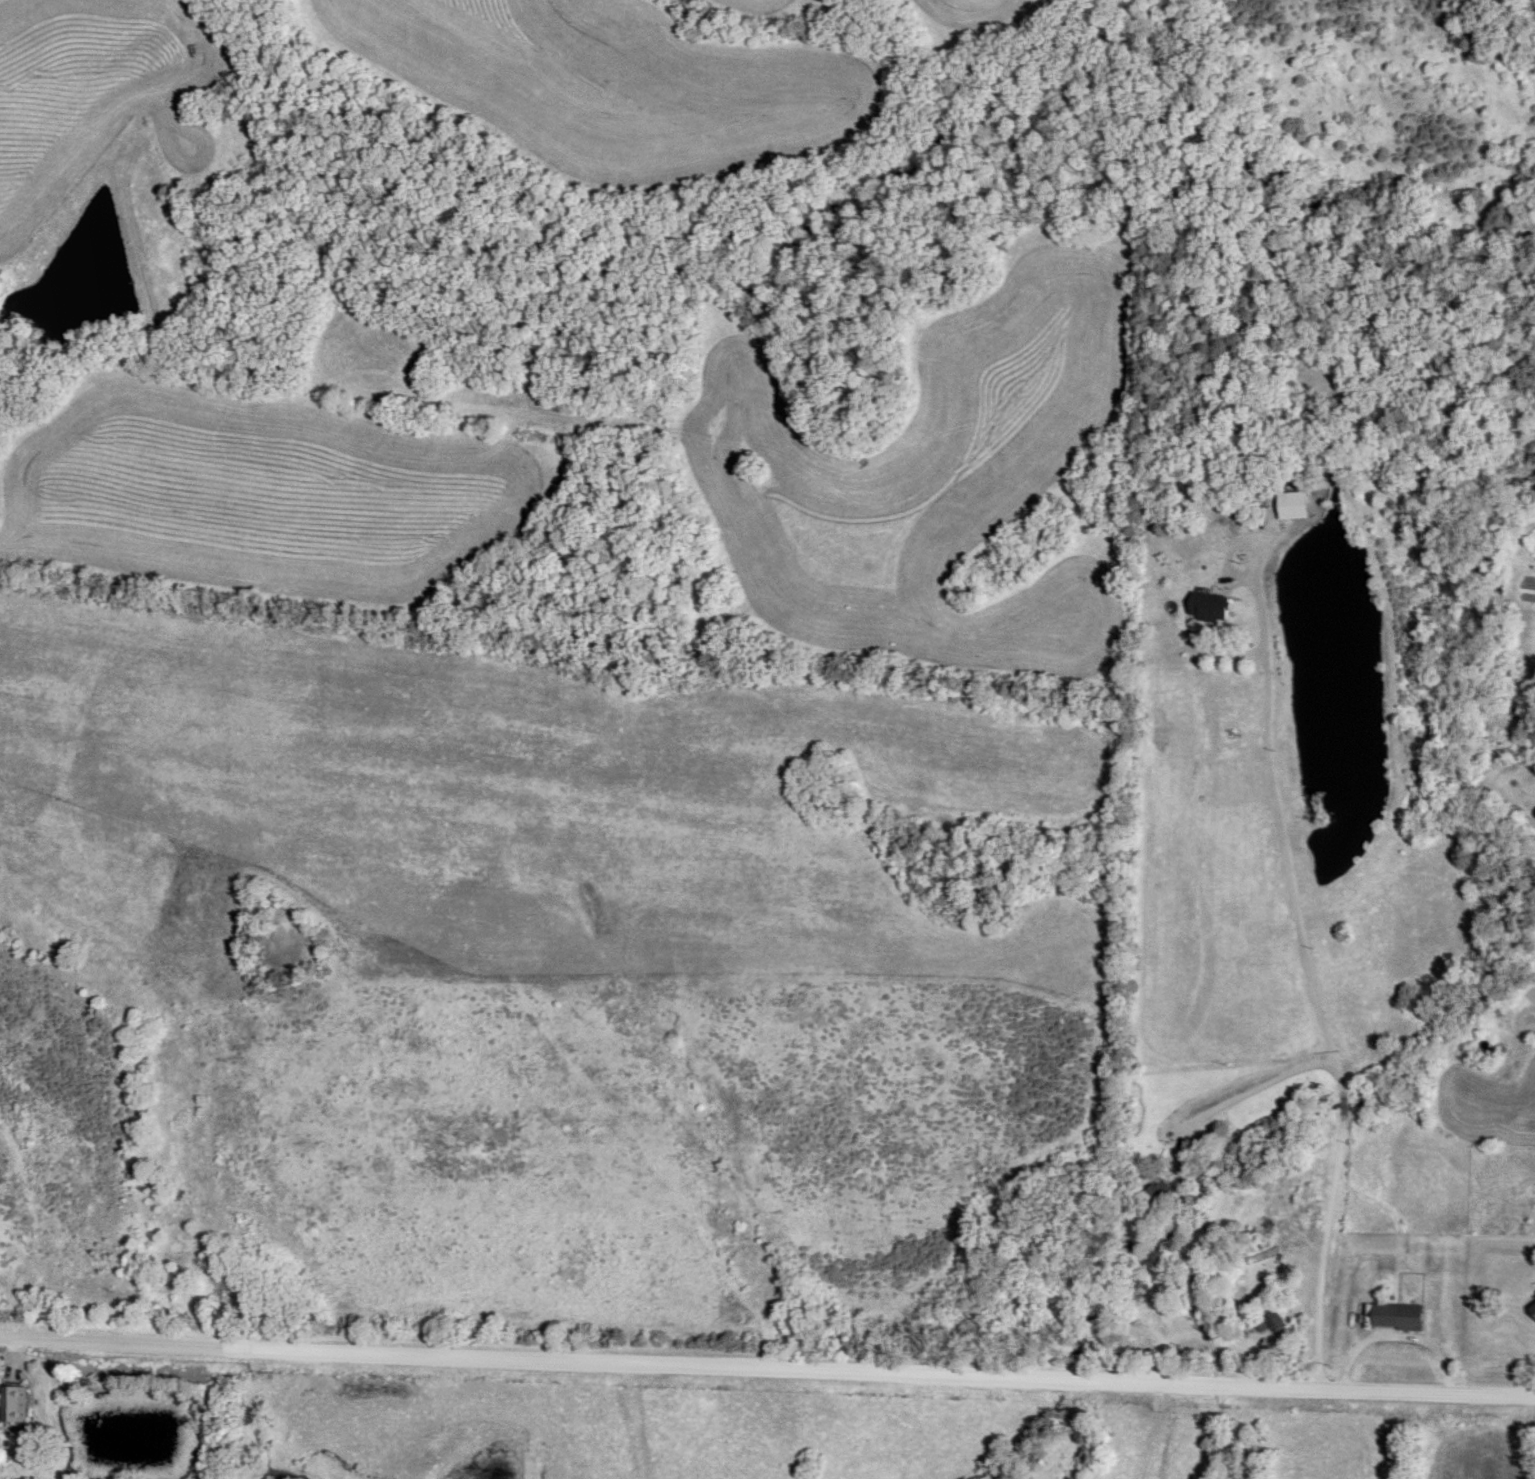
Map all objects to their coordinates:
building: (1293, 505)
building: (1208, 607)
road: (1316, 986)
building: (1159, 1194)
road: (1176, 1225)
building: (1294, 1258)
building: (1182, 1298)
building: (1533, 1310)
building: (1410, 1319)
building: (1268, 1320)
road: (1403, 1336)
road: (767, 1370)
building: (15, 1404)

